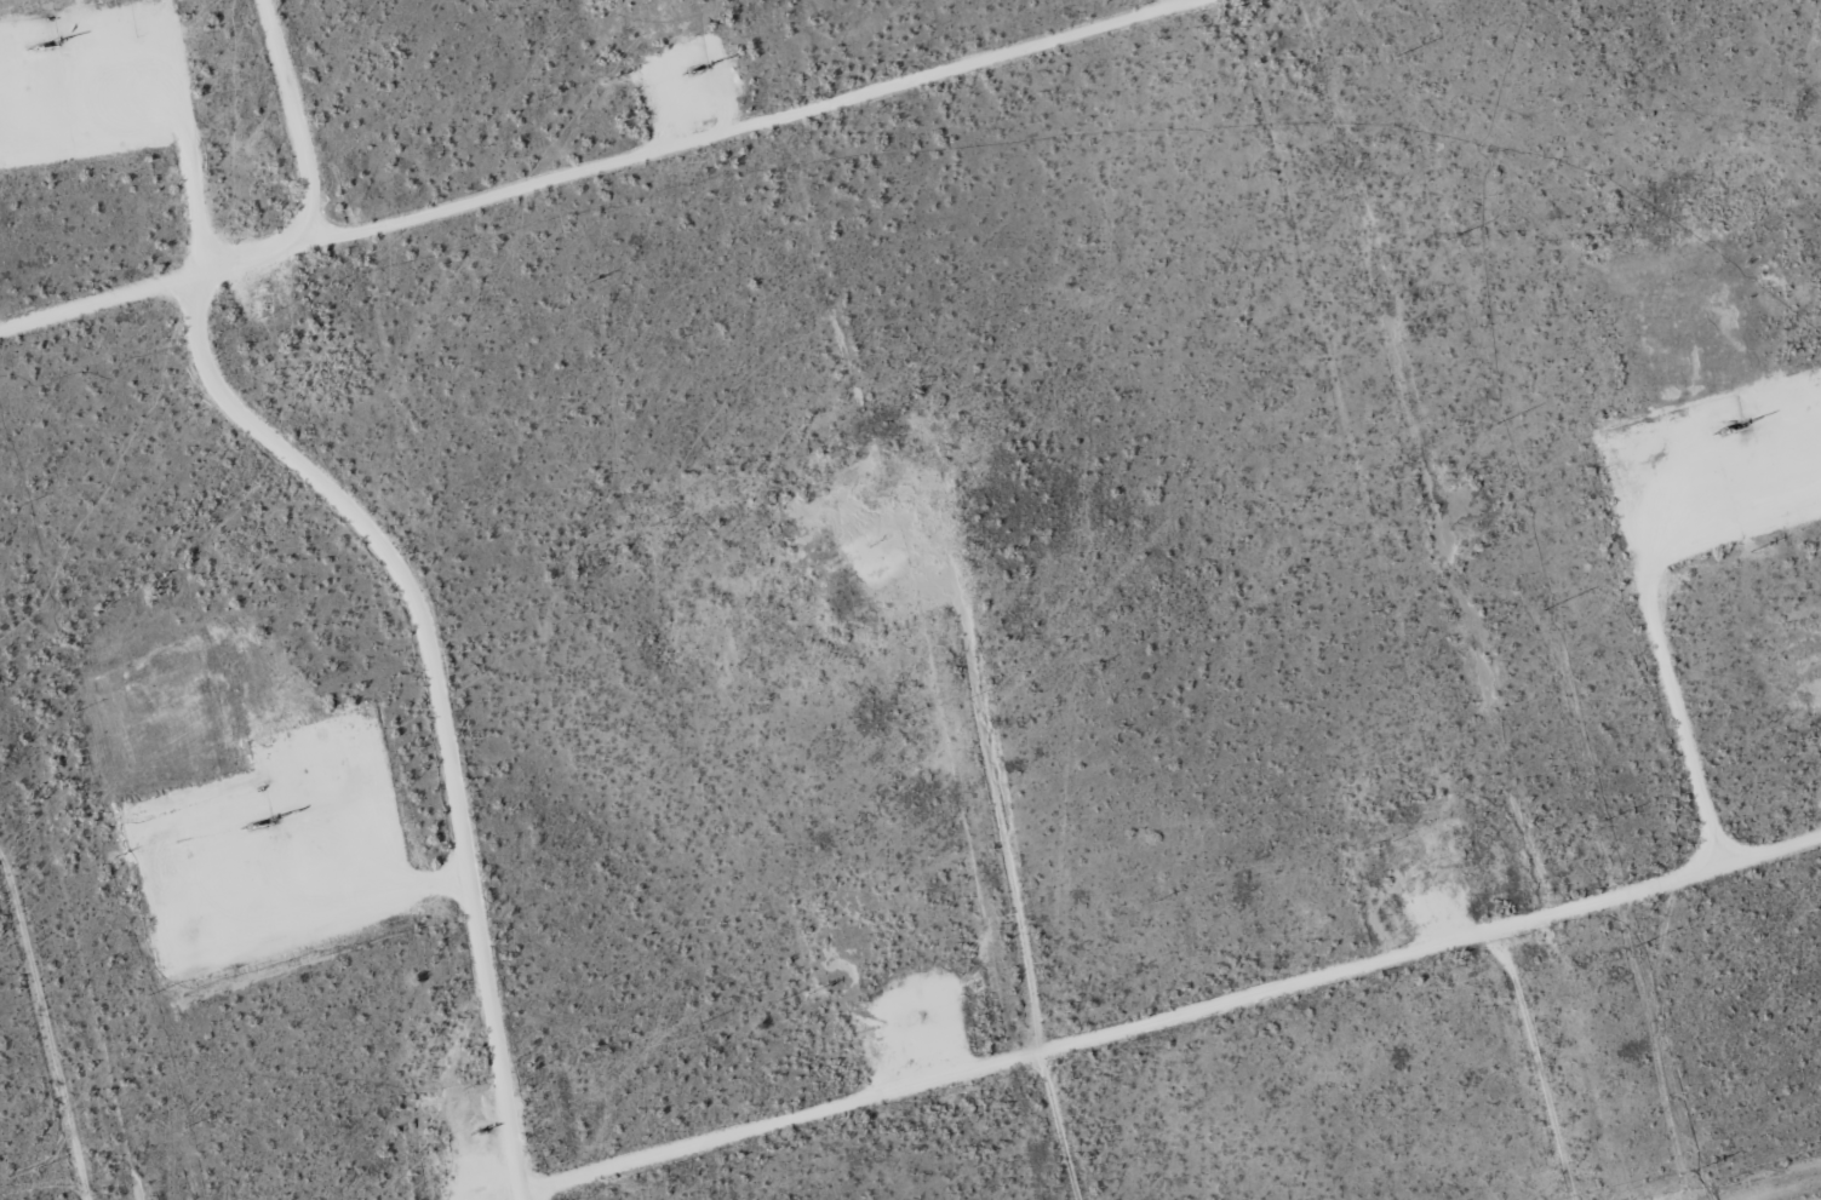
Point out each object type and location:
road: (323, 110)
road: (571, 160)
road: (436, 705)
road: (967, 1107)

